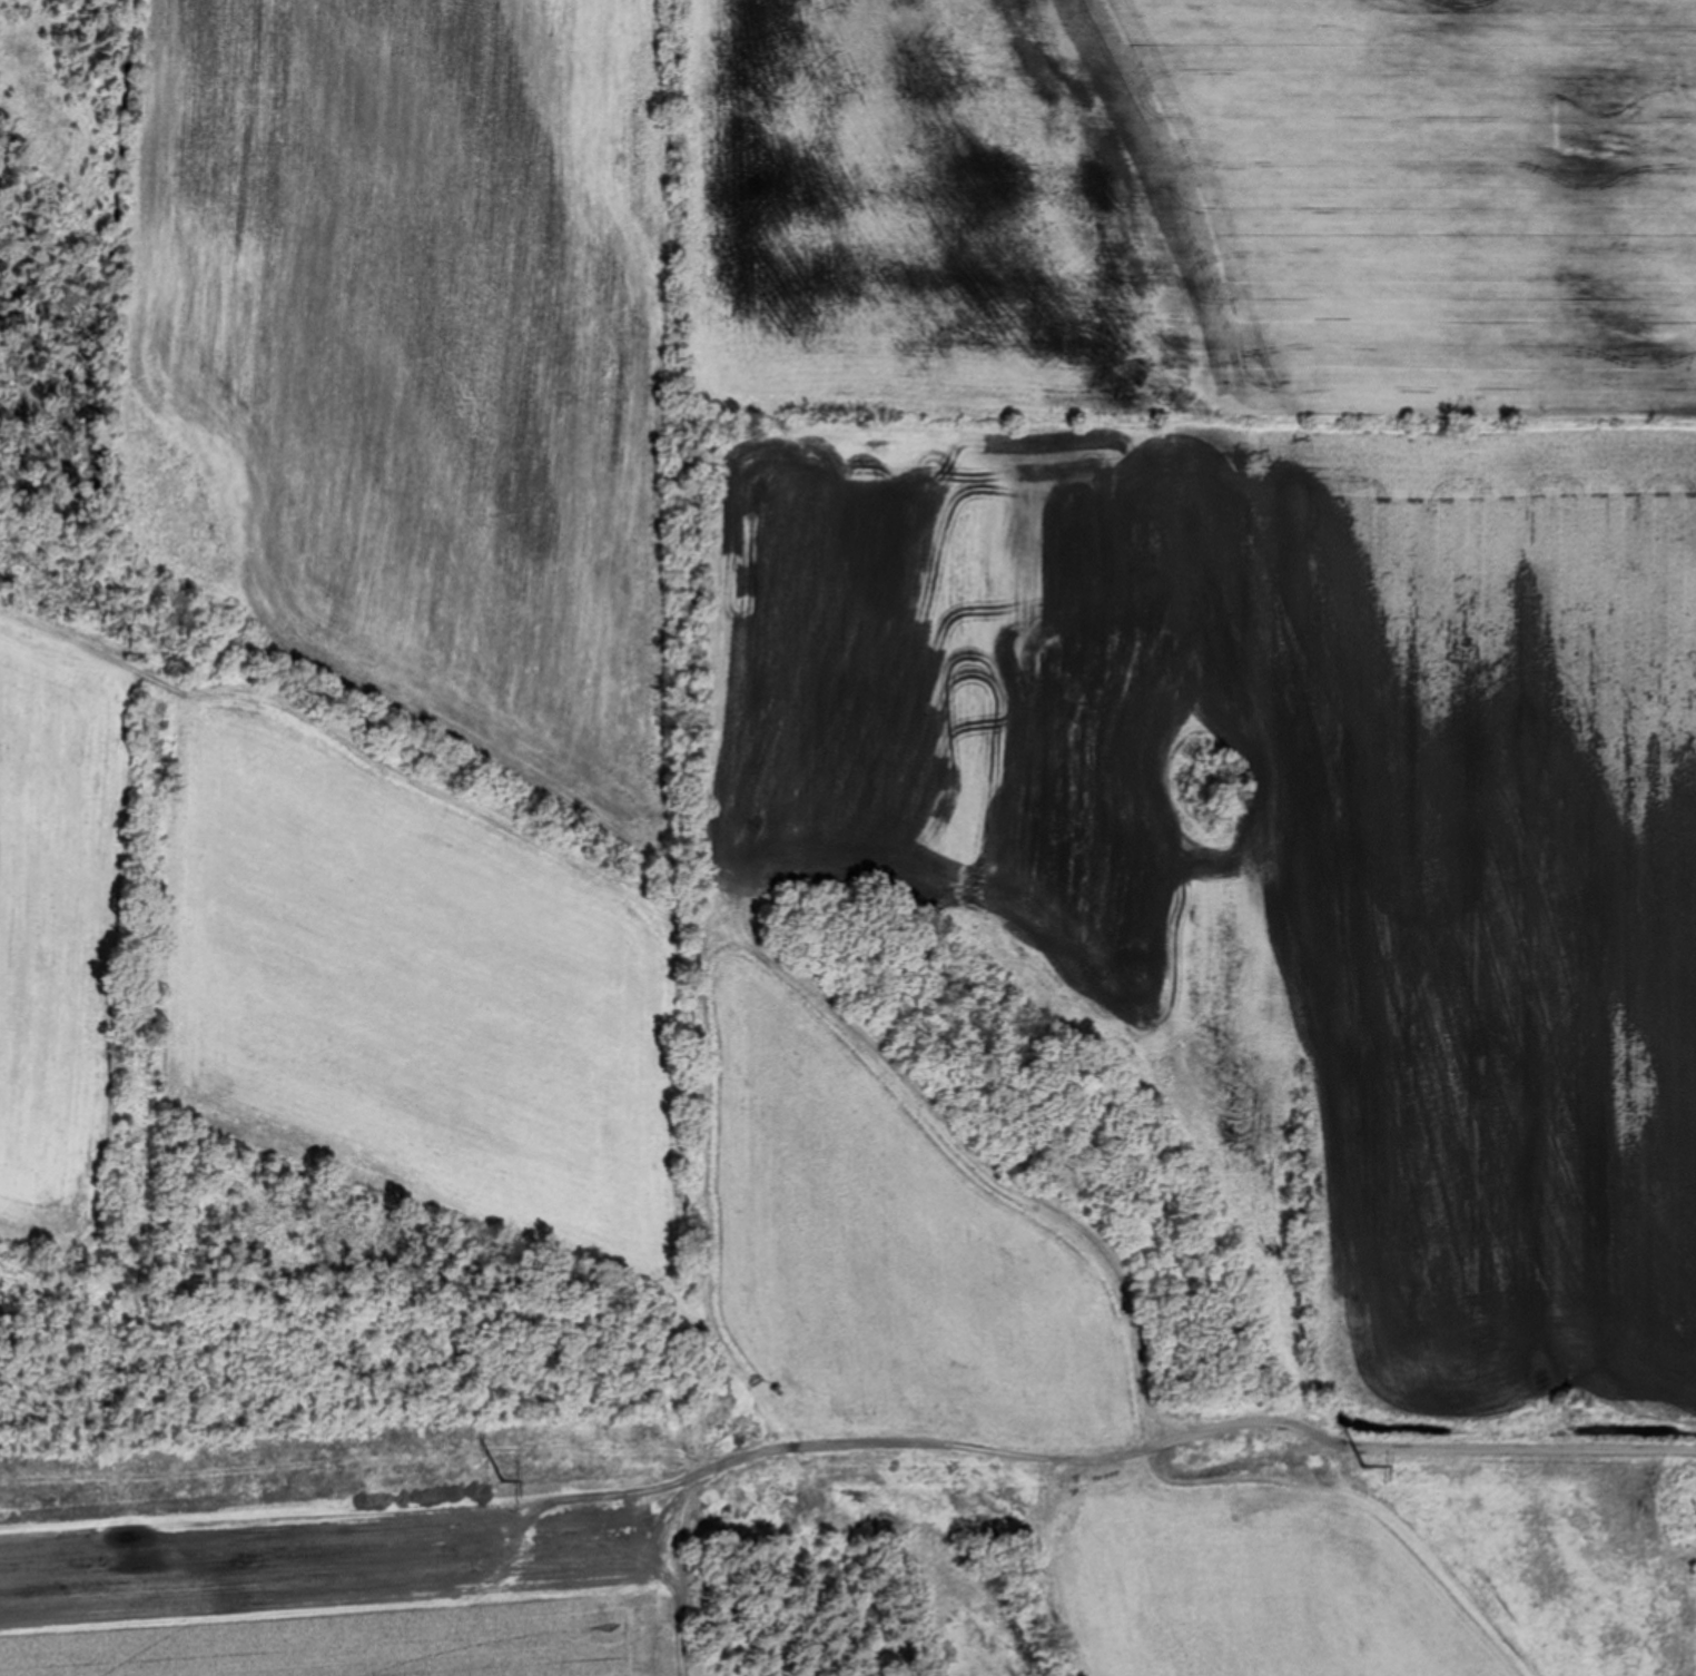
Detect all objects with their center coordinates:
power tower: (1368, 1459)
power tower: (503, 1475)

